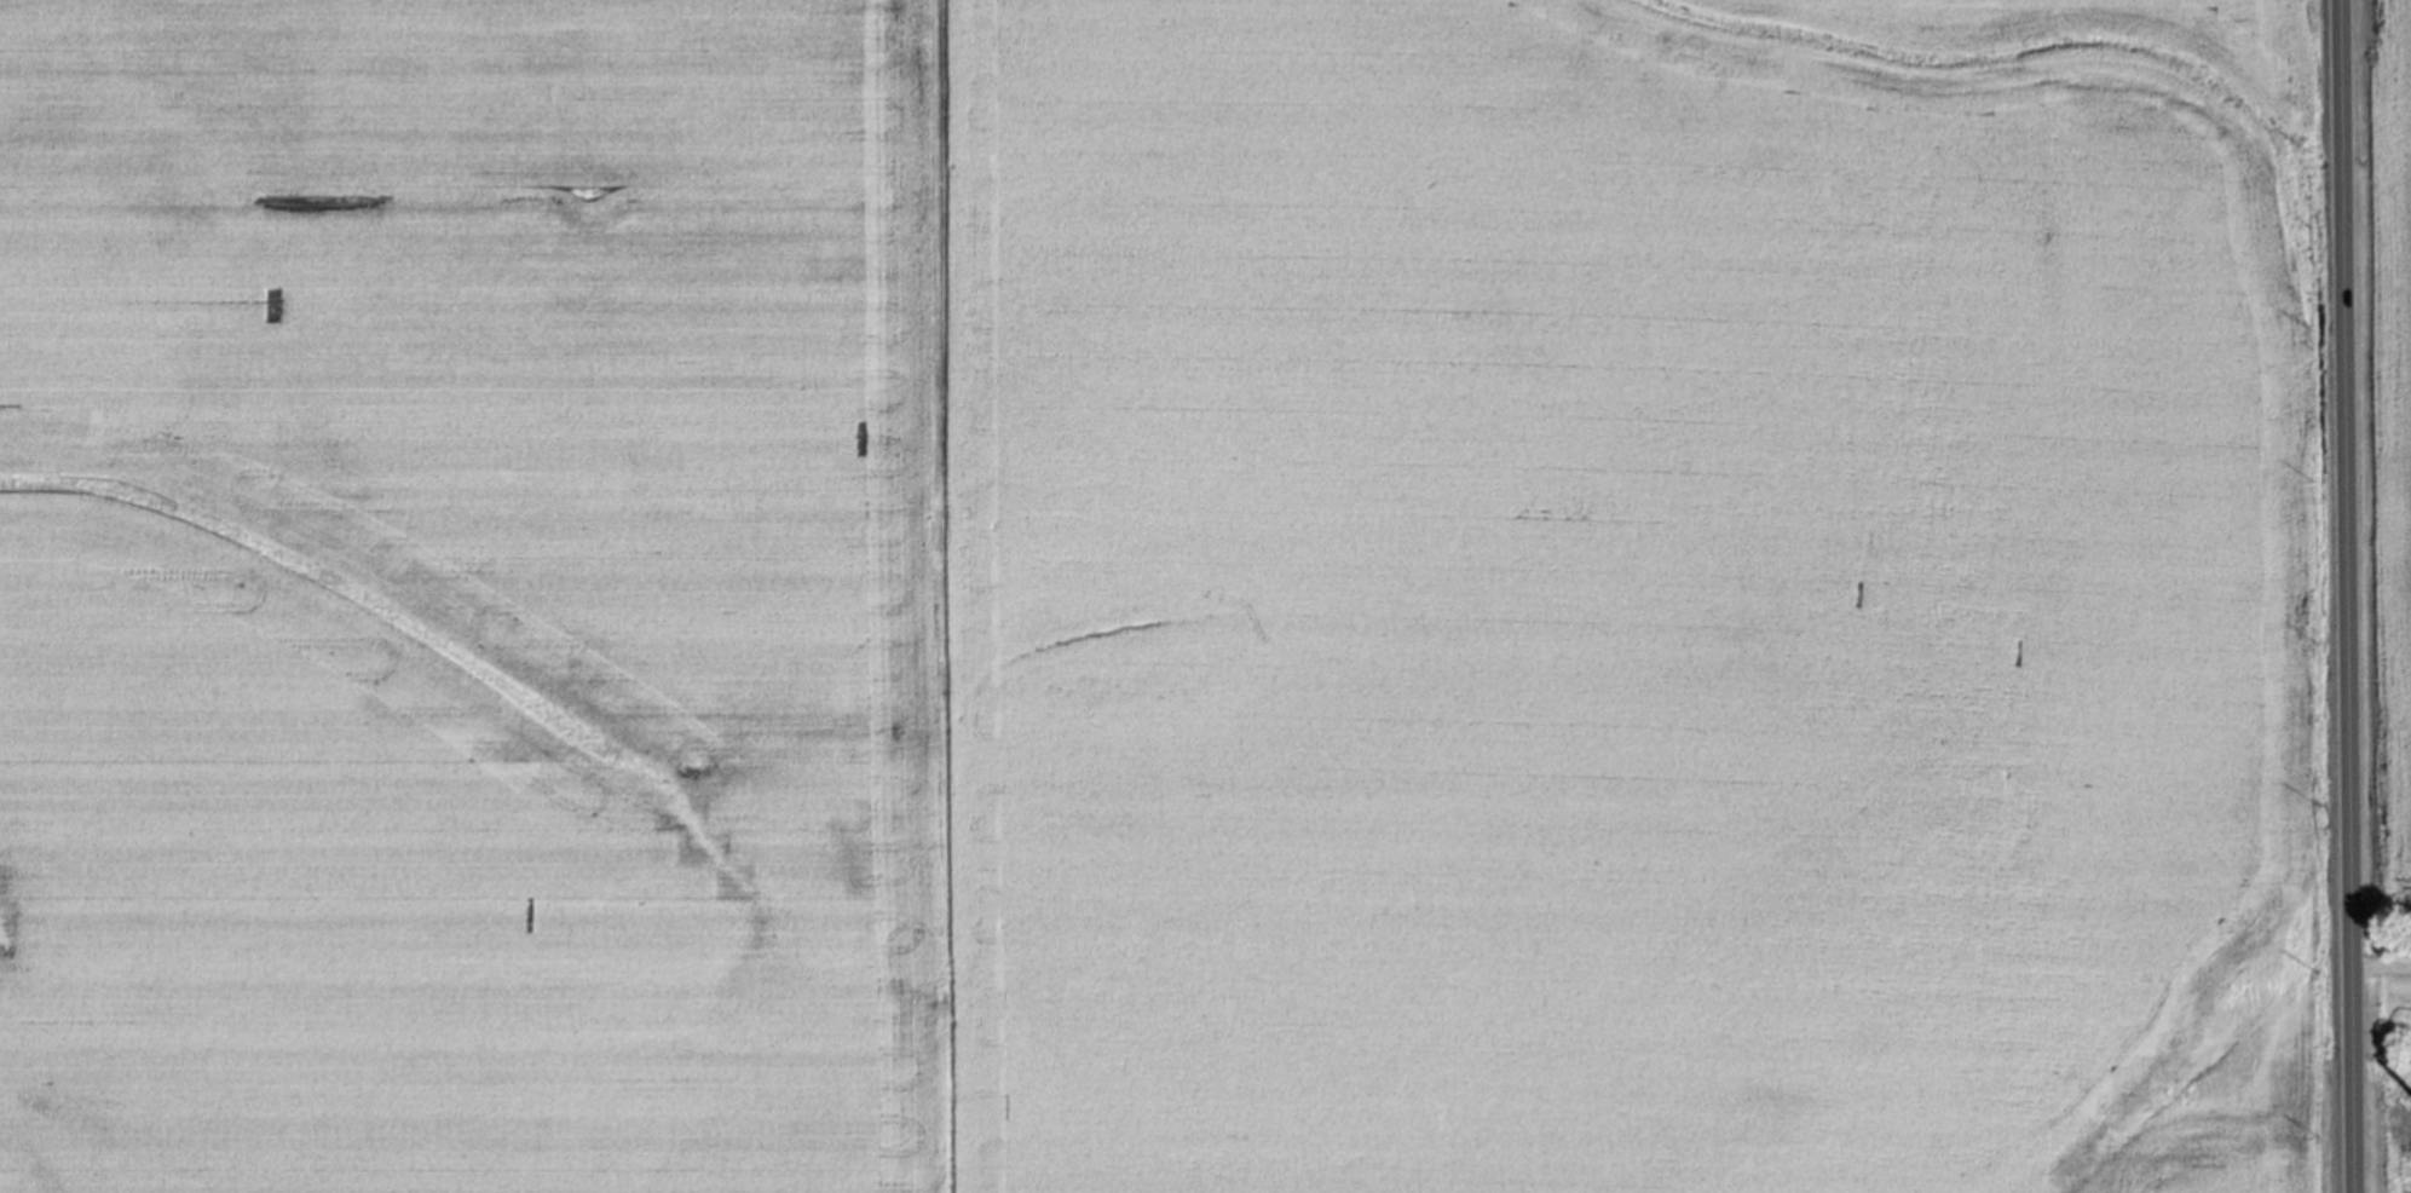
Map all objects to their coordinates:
road: (2346, 595)
road: (2380, 964)

